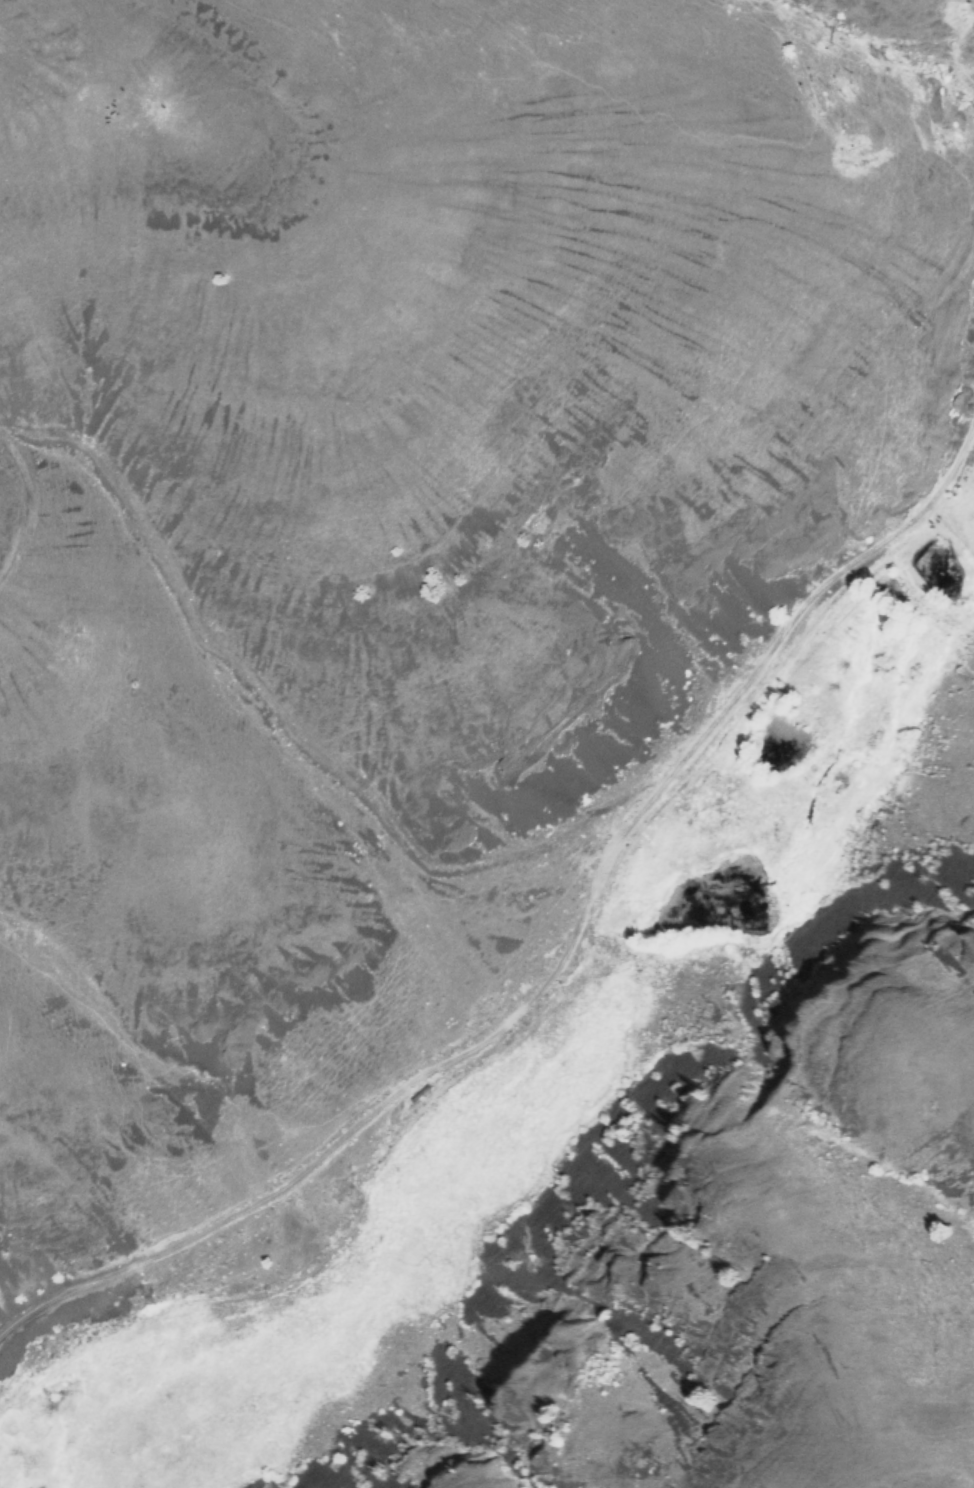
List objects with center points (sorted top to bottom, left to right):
road: (560, 955)

